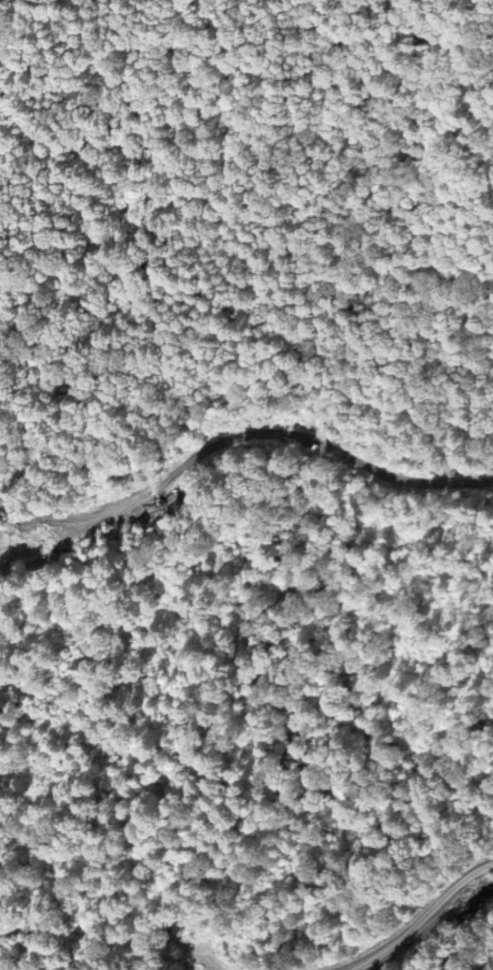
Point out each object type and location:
road: (419, 924)

